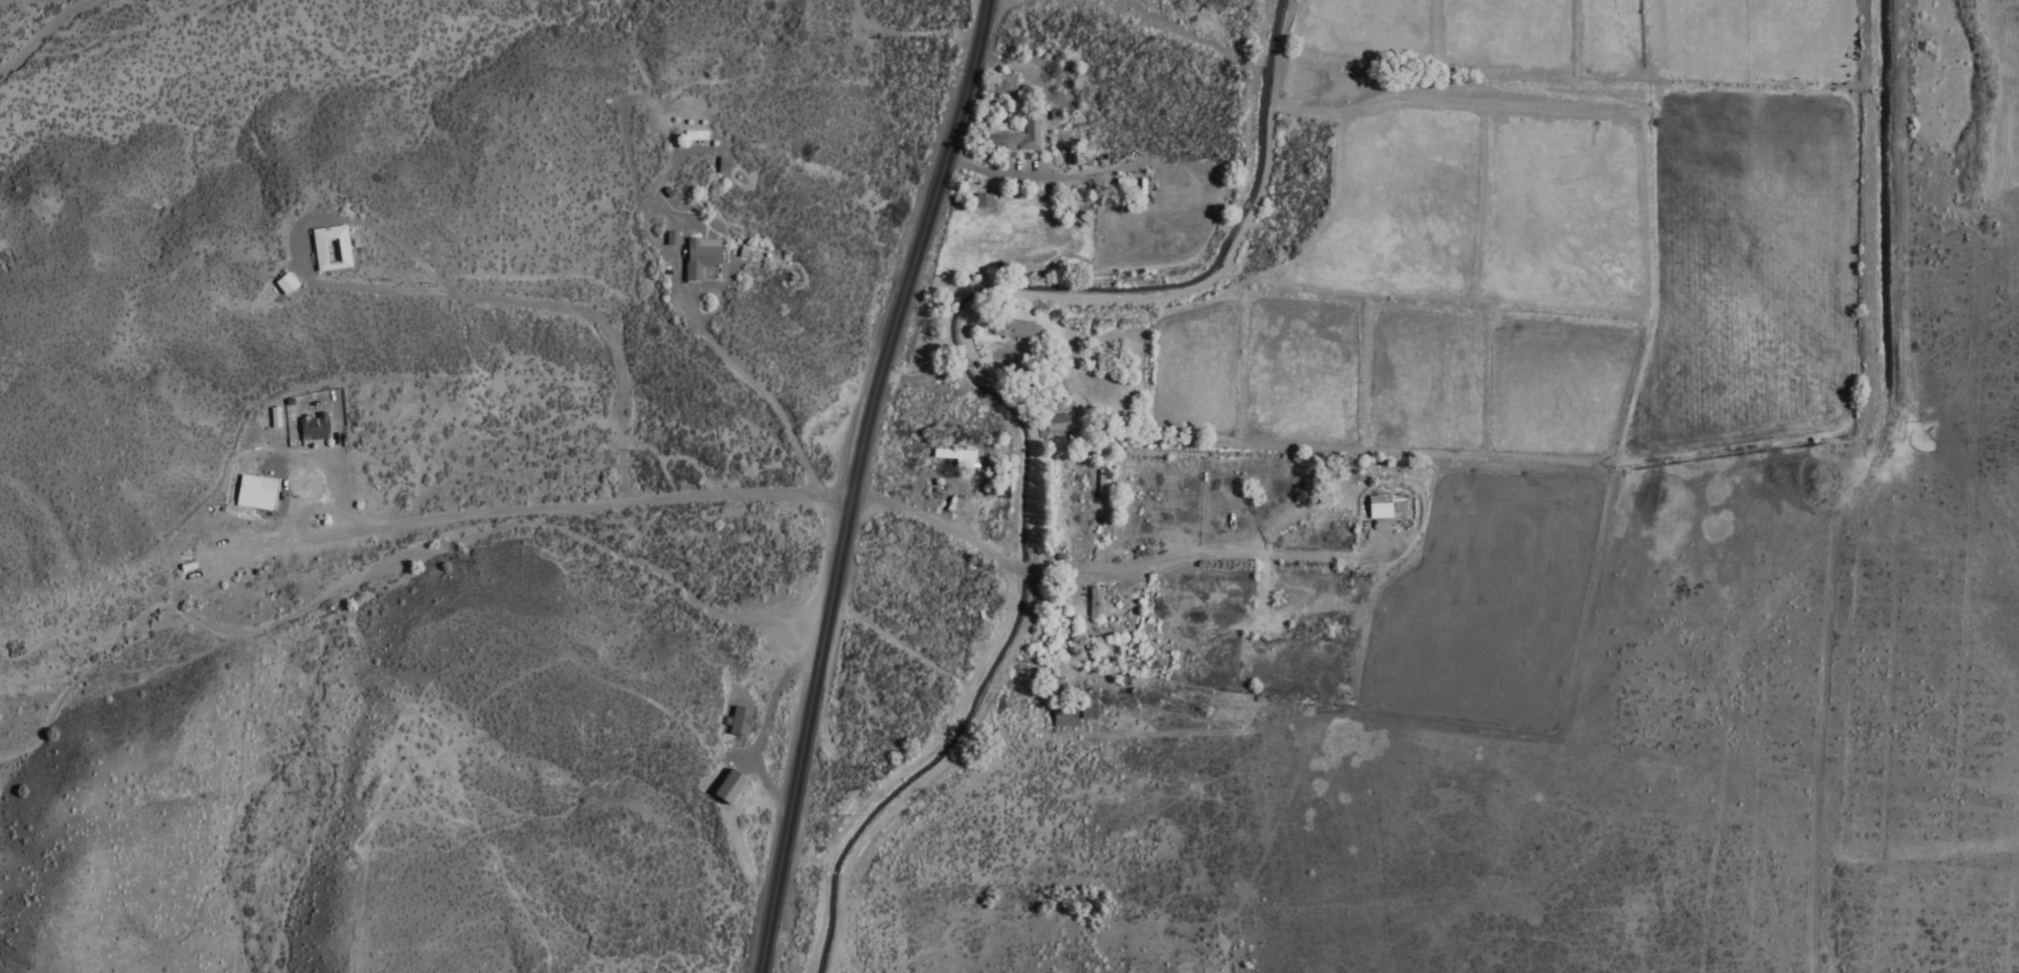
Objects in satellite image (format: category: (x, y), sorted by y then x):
building: (1009, 137)
building: (718, 168)
road: (661, 174)
building: (1121, 189)
building: (980, 203)
building: (667, 241)
building: (326, 251)
building: (696, 259)
road: (1058, 284)
building: (281, 286)
road: (422, 296)
road: (1086, 302)
road: (687, 313)
building: (1335, 318)
building: (1013, 329)
building: (994, 370)
building: (1053, 425)
building: (311, 429)
building: (988, 480)
road: (844, 481)
road: (830, 490)
building: (254, 494)
building: (1382, 505)
building: (1097, 609)
road: (890, 648)
building: (1067, 716)
building: (733, 724)
road: (759, 730)
road: (895, 771)
road: (923, 777)
building: (721, 790)
road: (736, 865)

